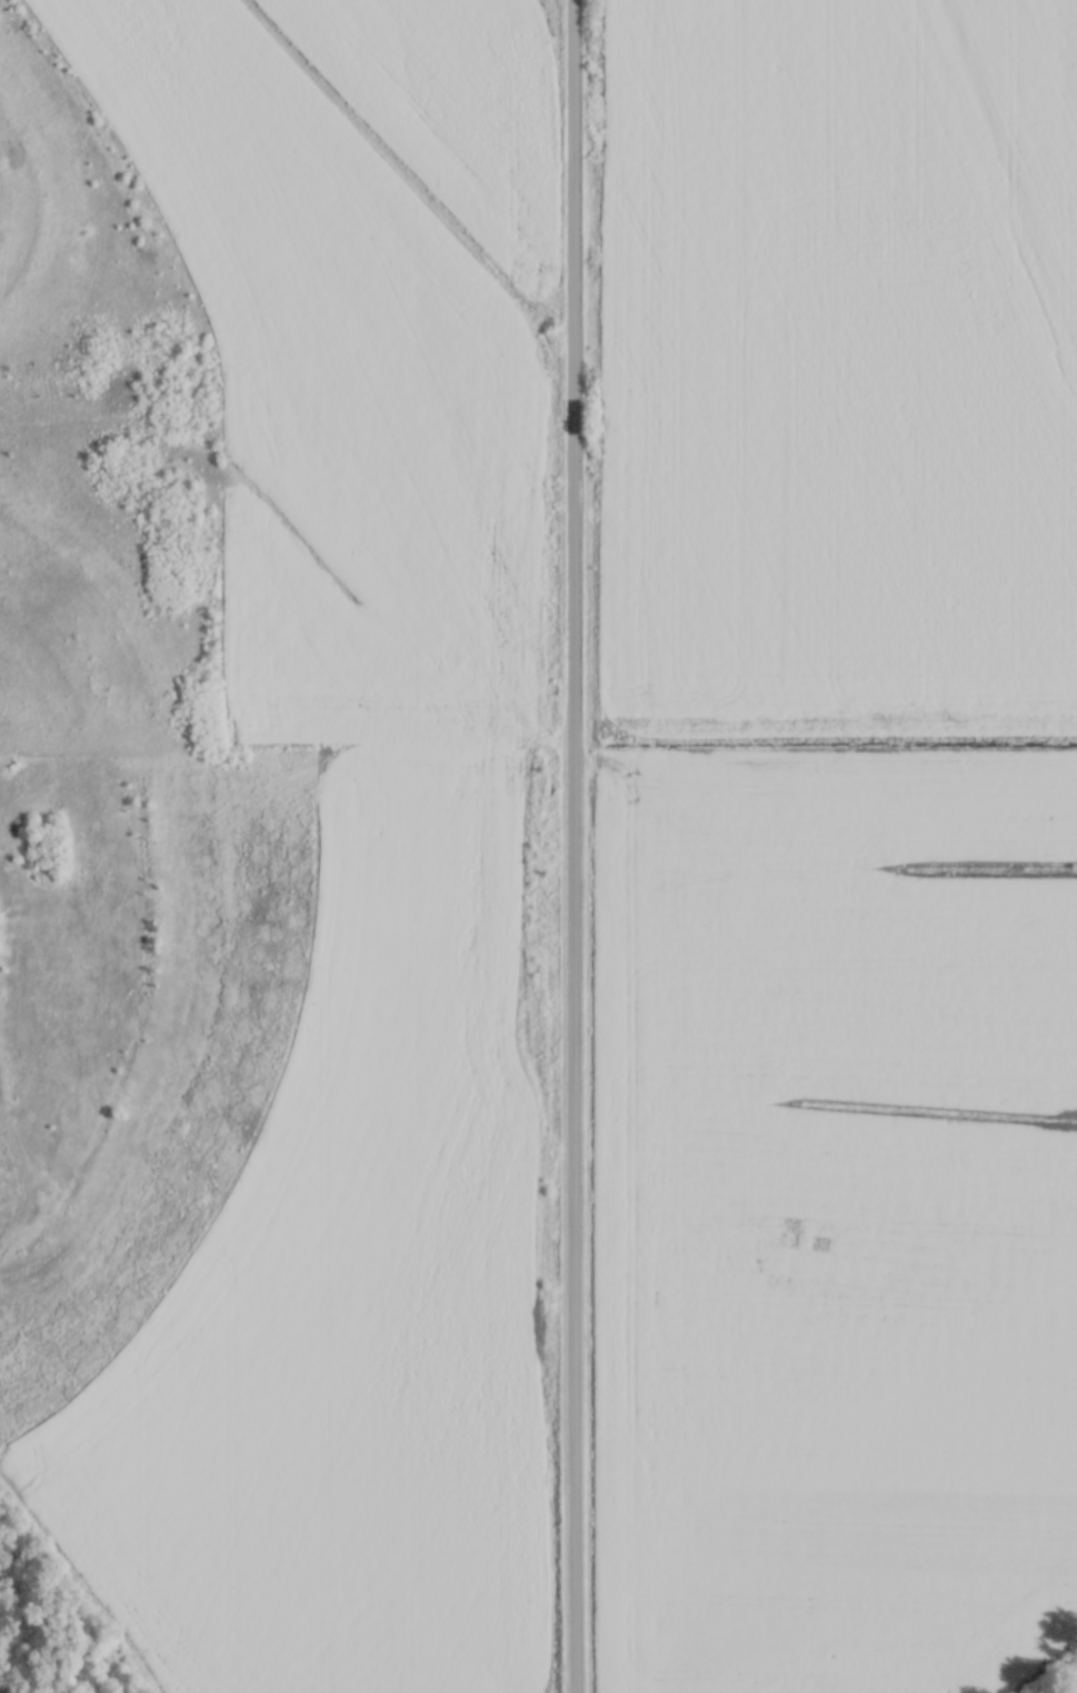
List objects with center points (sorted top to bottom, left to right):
road: (578, 846)

